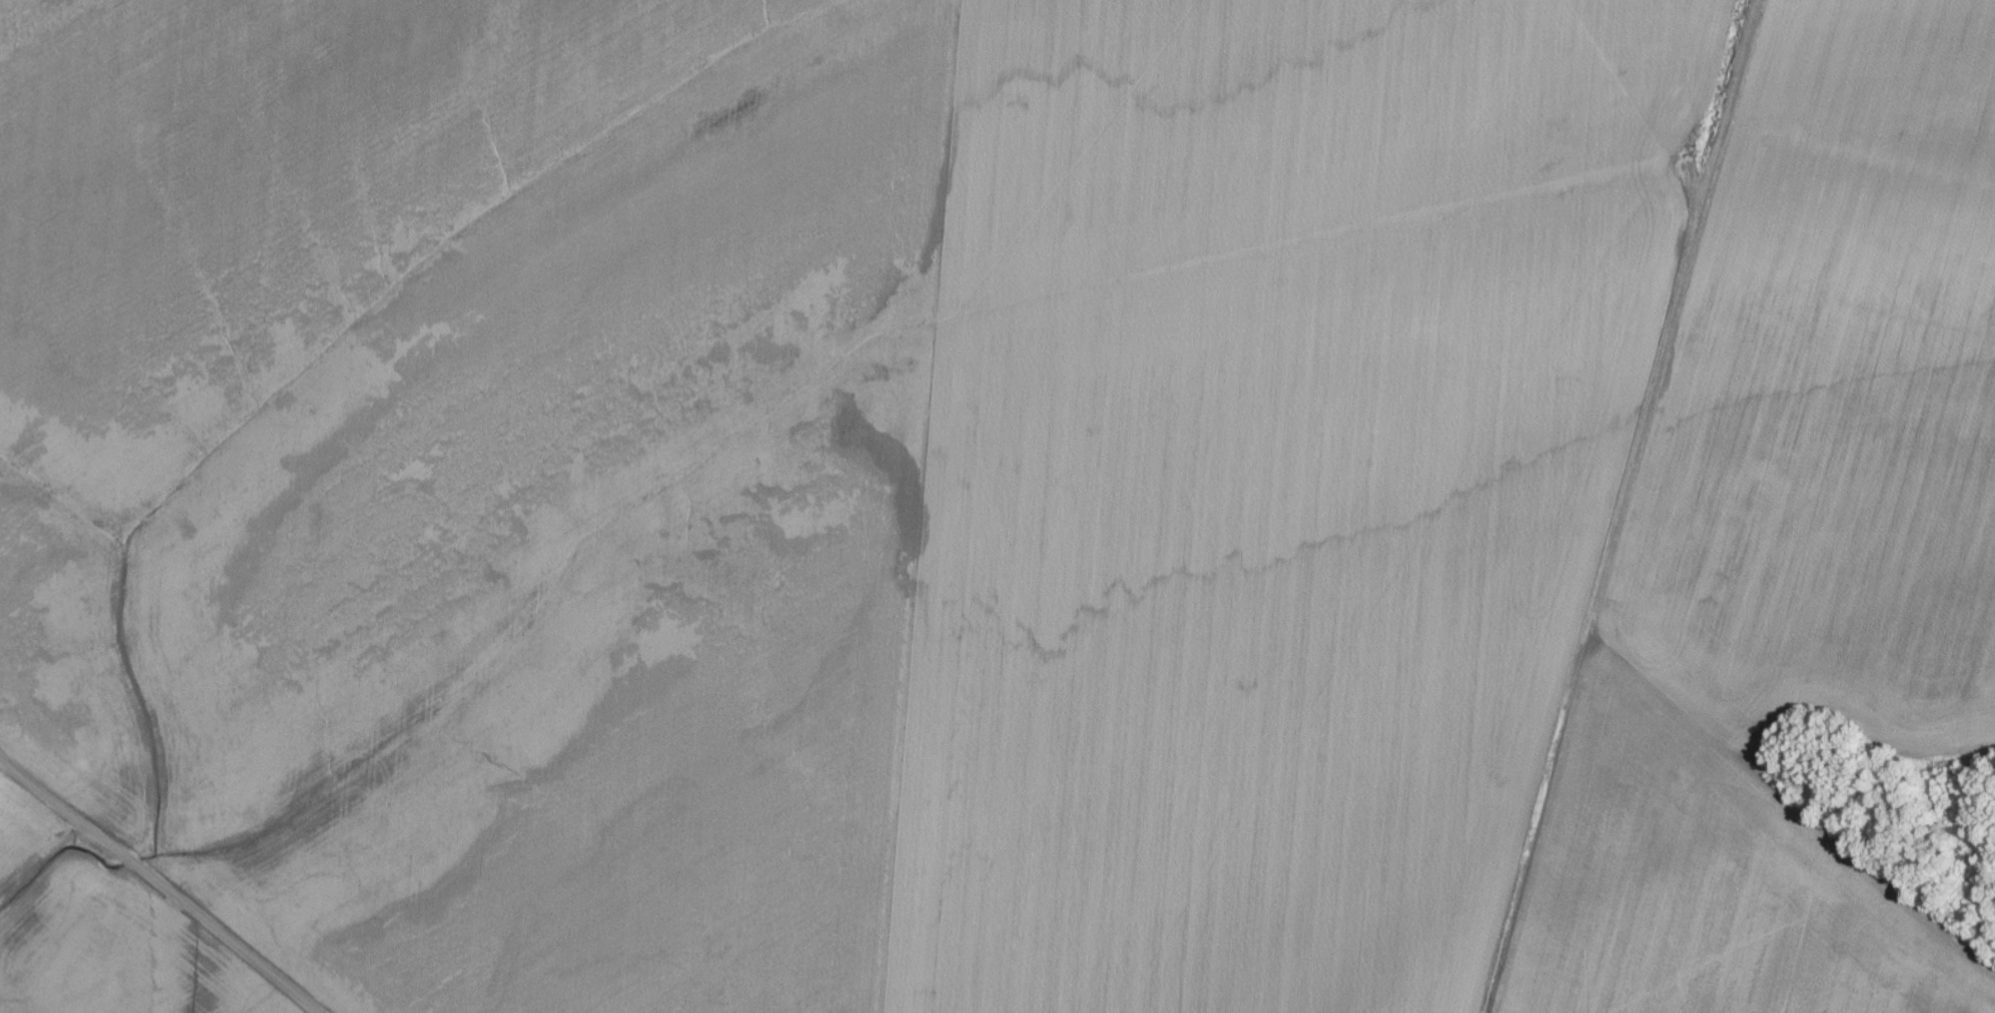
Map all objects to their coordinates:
road: (158, 884)

